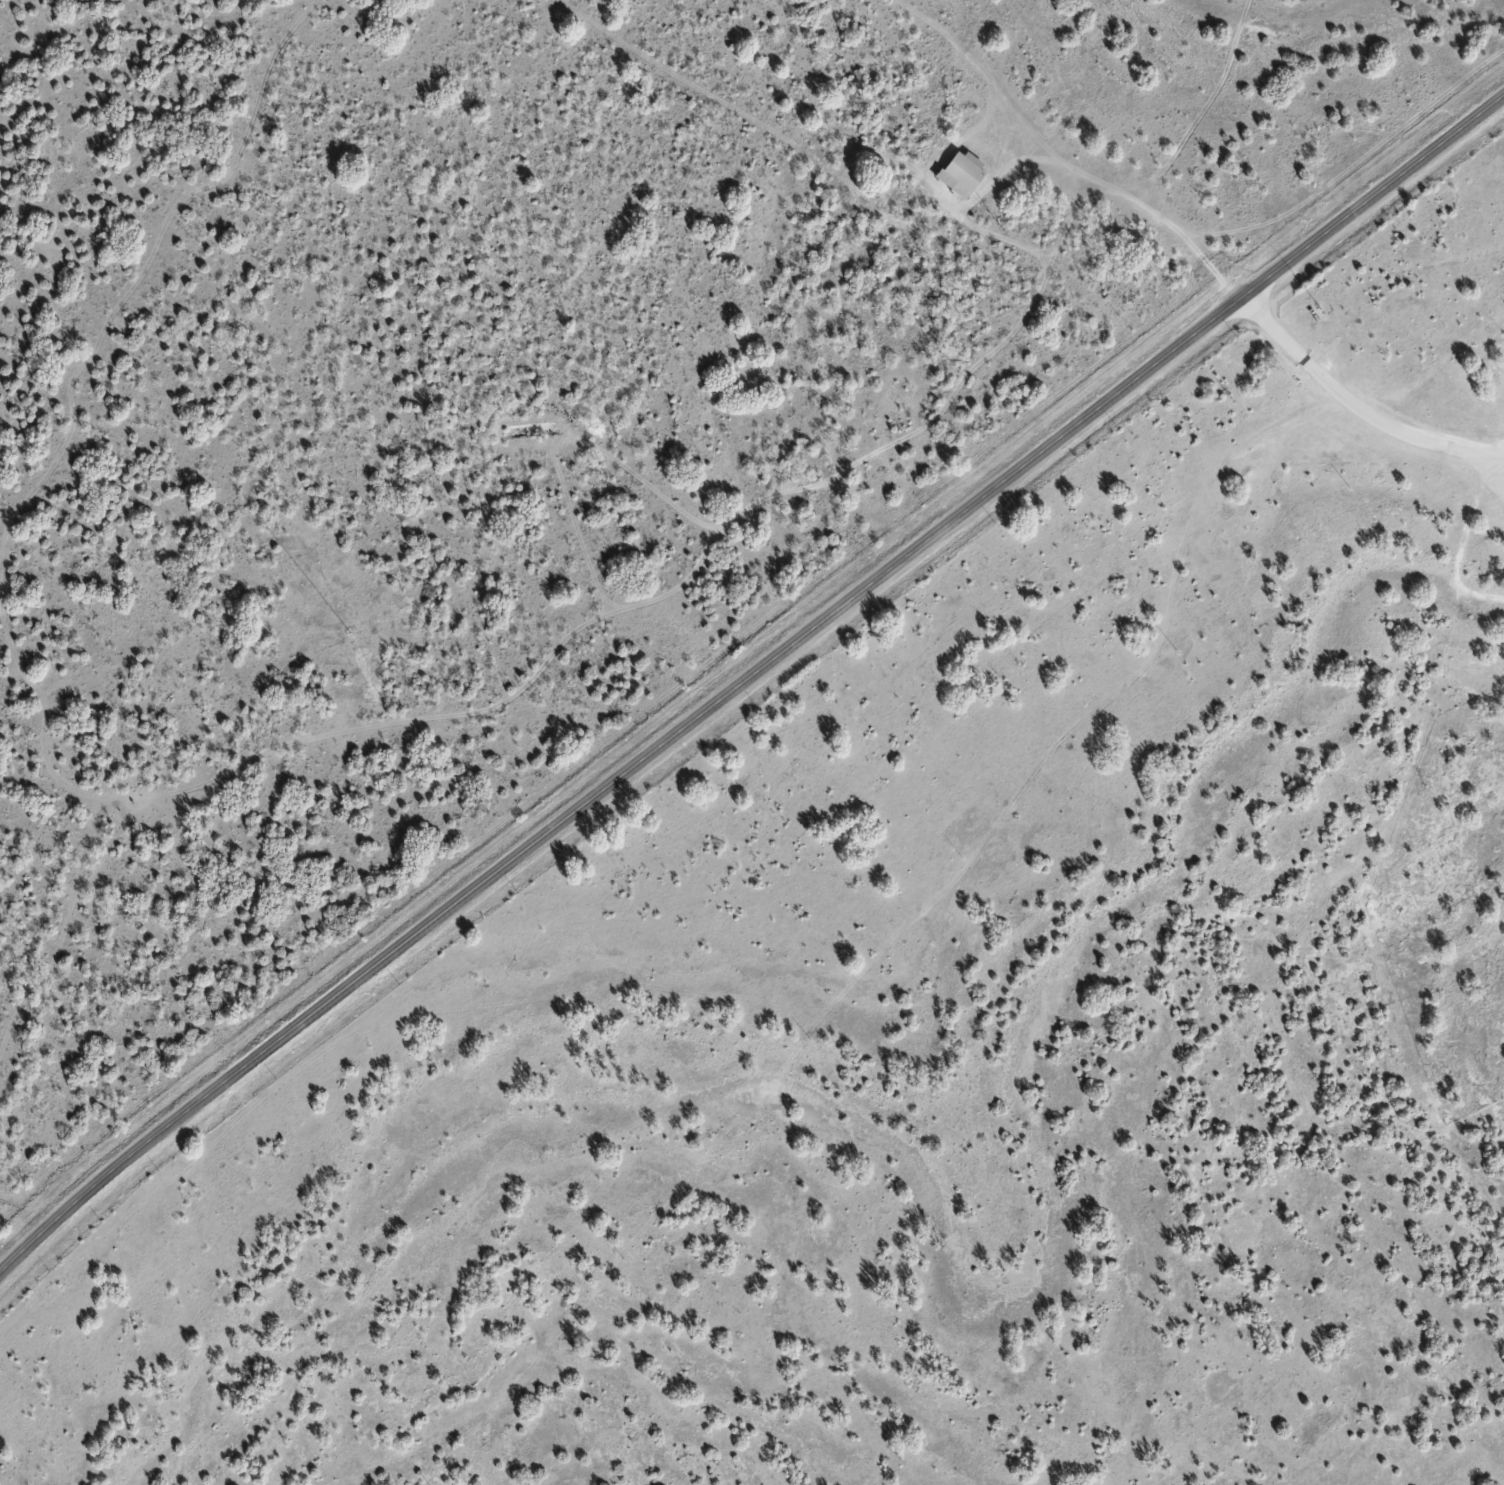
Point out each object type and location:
building: (959, 173)
road: (1357, 405)
road: (747, 680)

